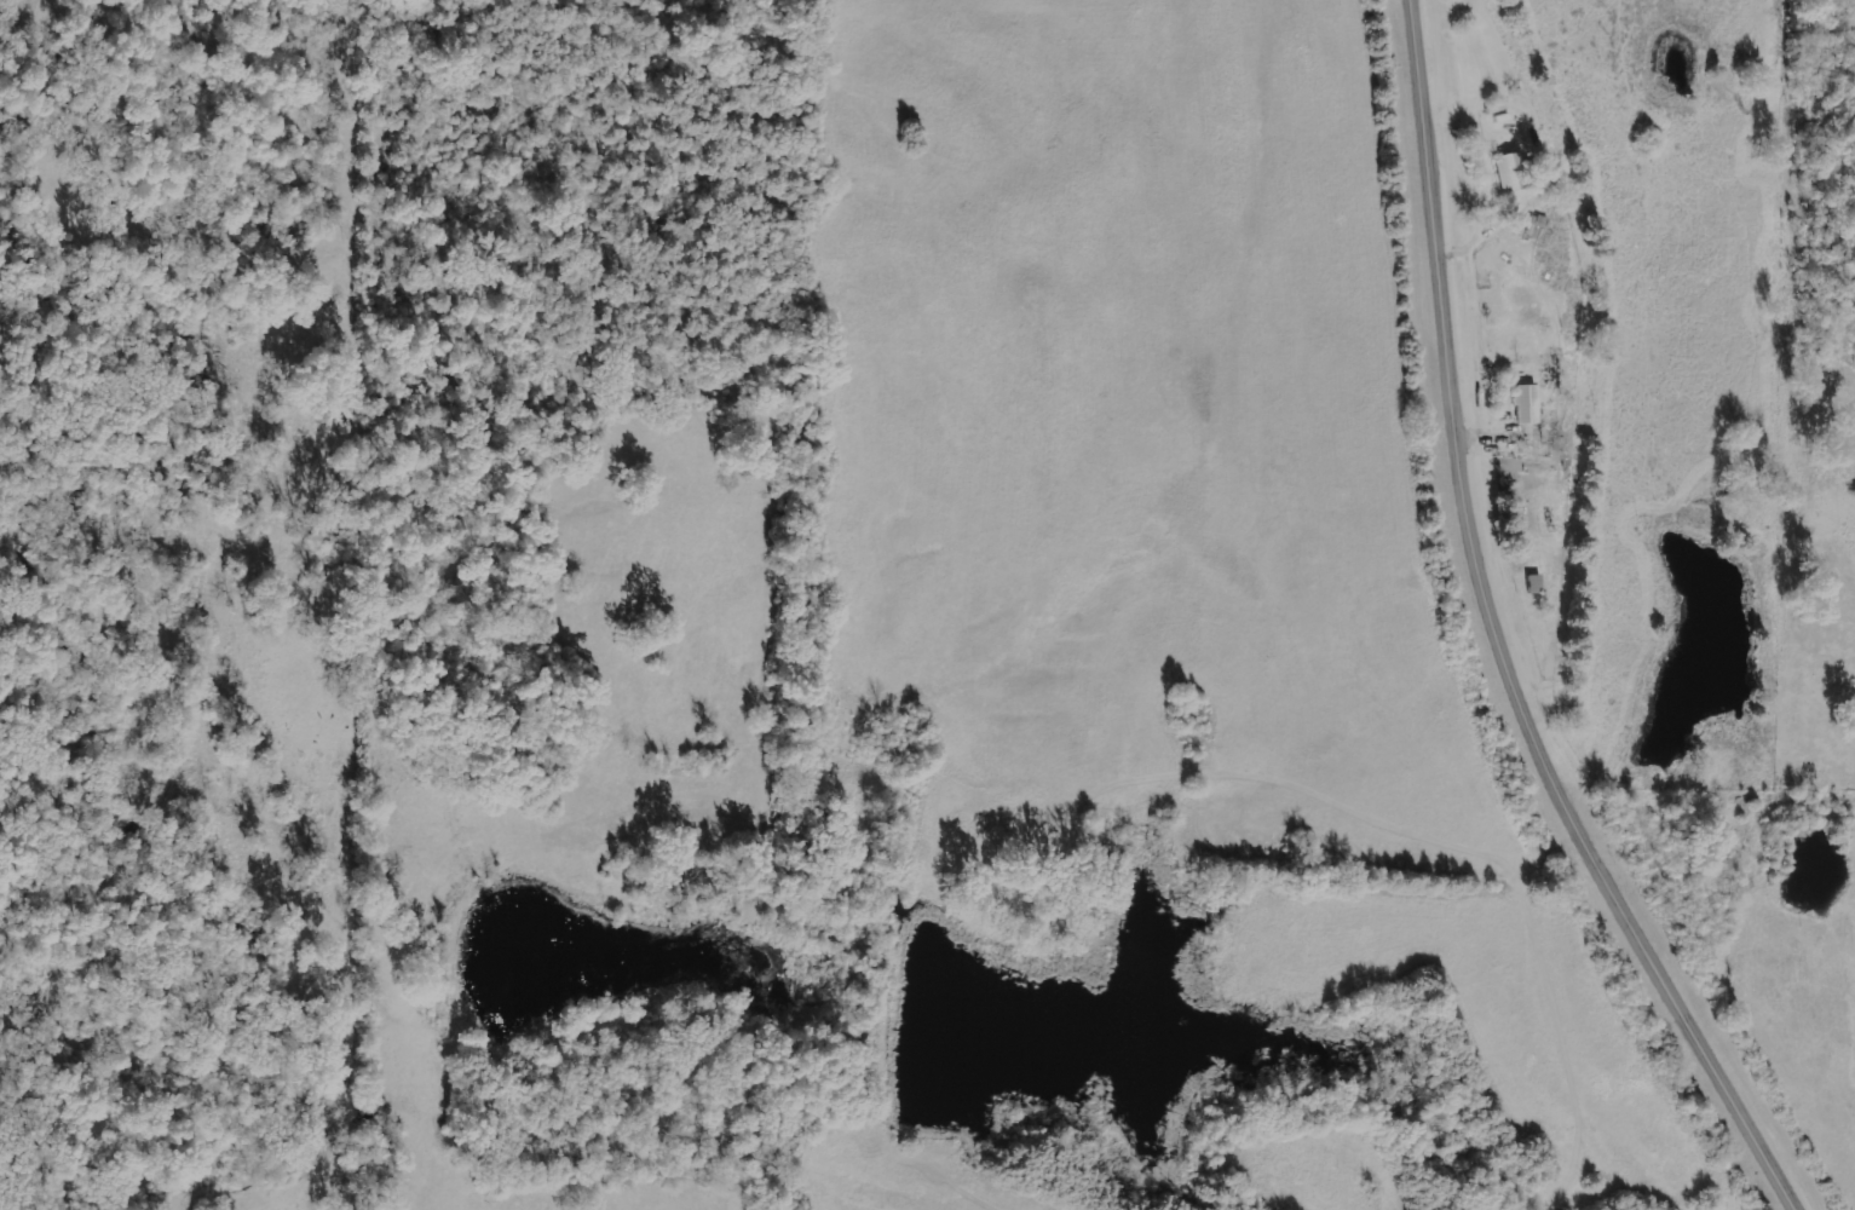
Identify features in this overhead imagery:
building: (1510, 172)
building: (1525, 404)
road: (1488, 639)
park: (71, 1182)

